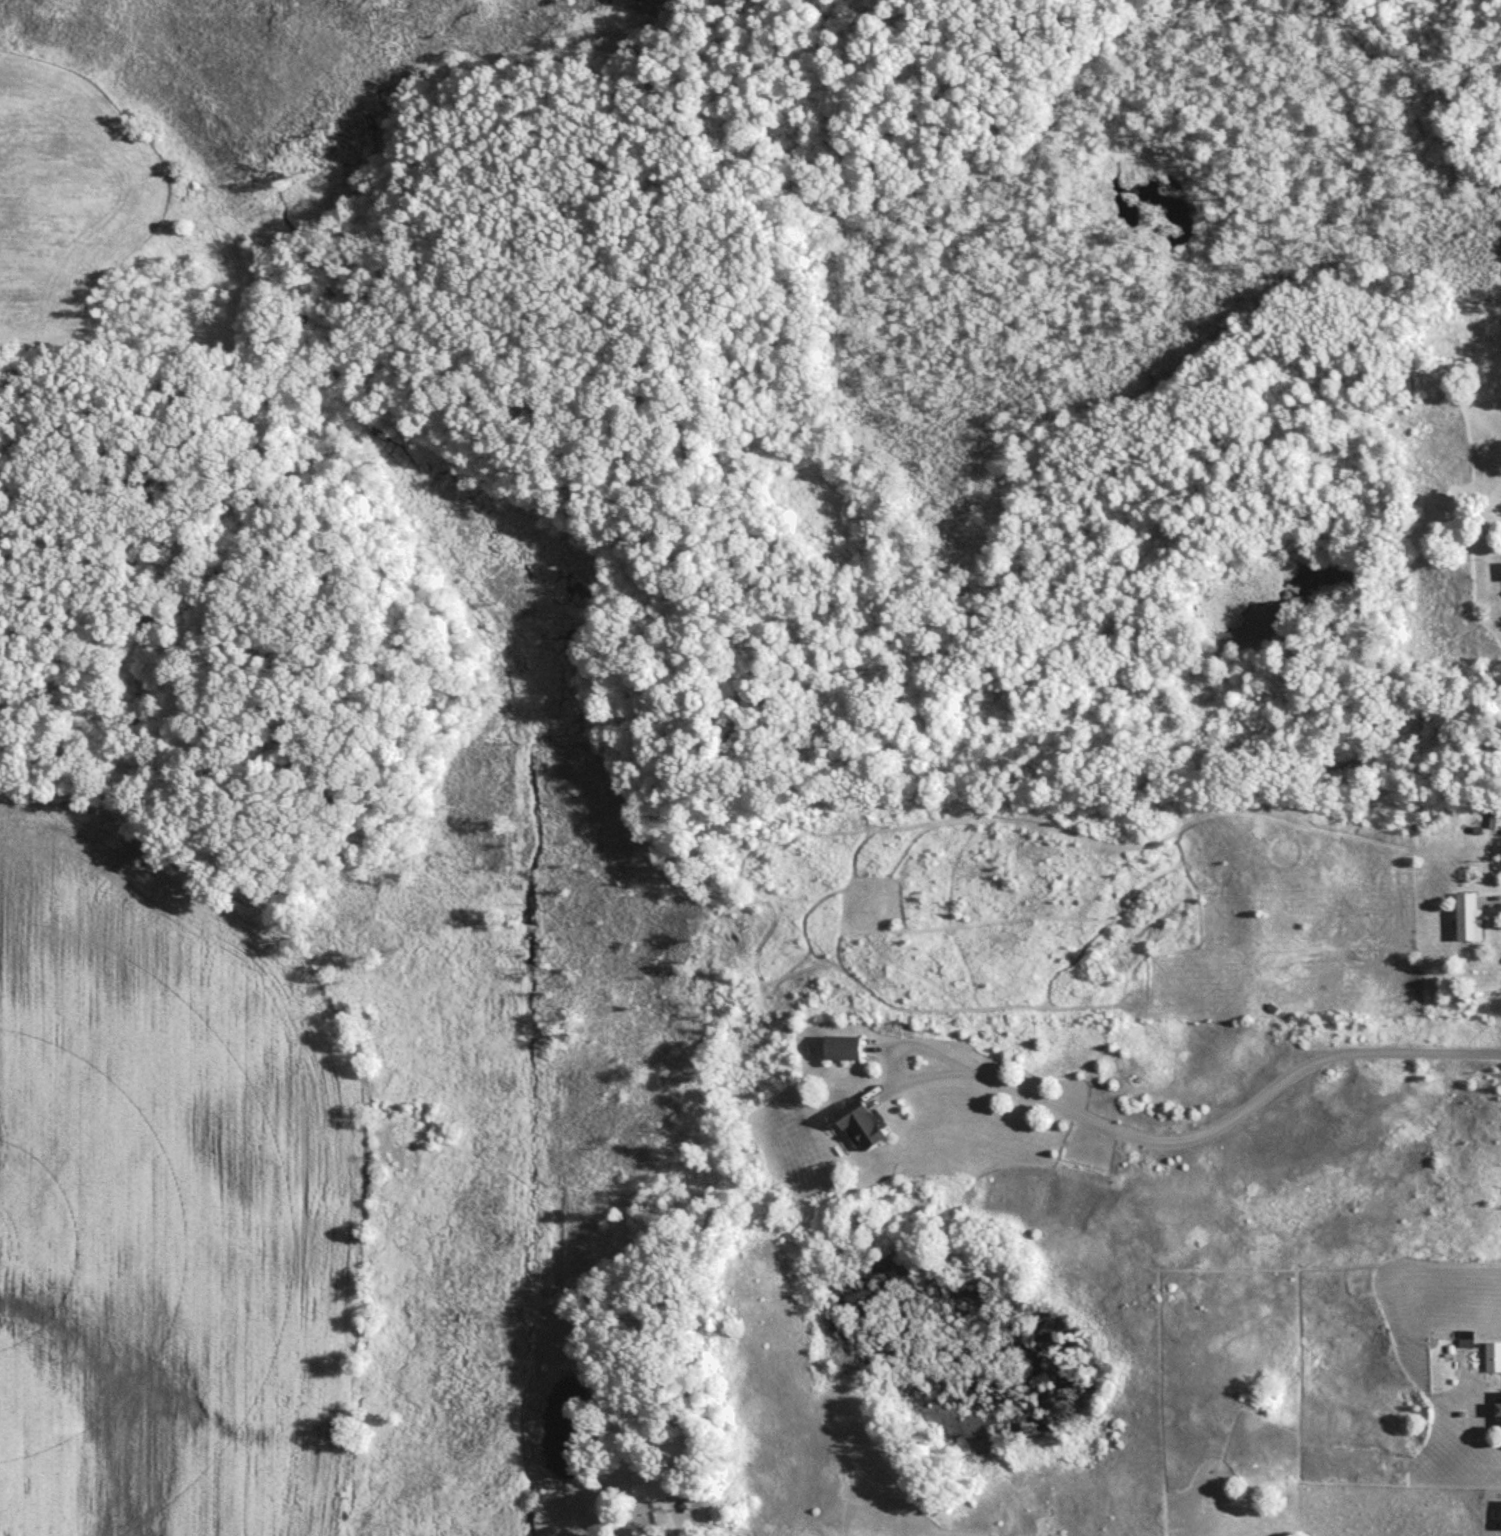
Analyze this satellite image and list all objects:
building: (1500, 577)
building: (1465, 922)
building: (838, 1051)
road: (889, 1054)
road: (1232, 1112)
building: (854, 1128)
building: (1492, 1362)
building: (1496, 1415)
building: (636, 1493)
road: (669, 1517)
building: (1499, 1520)

